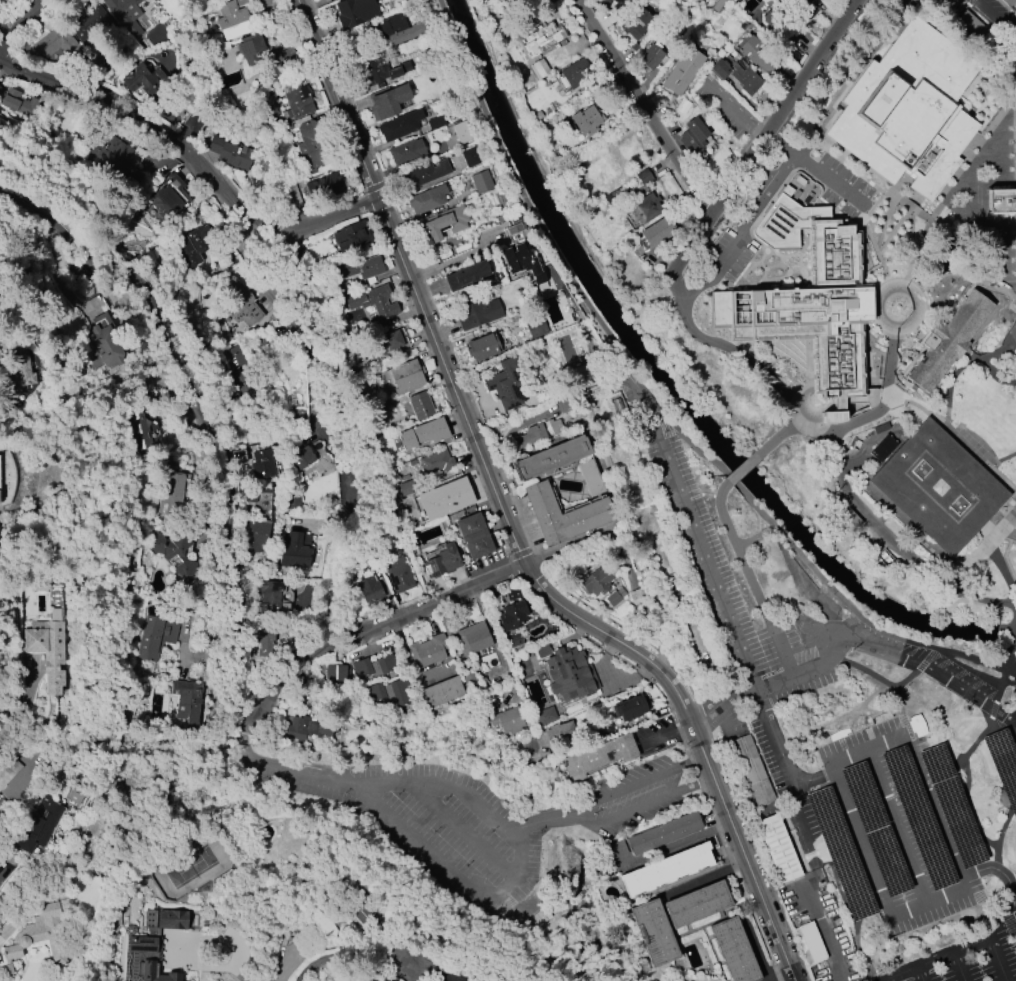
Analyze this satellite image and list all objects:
building: (481, 0)
building: (801, 9)
building: (354, 12)
parking lot: (1003, 12)
building: (125, 15)
road: (998, 16)
road: (27, 20)
building: (233, 20)
building: (634, 22)
building: (91, 24)
building: (394, 28)
building: (541, 38)
building: (53, 43)
building: (253, 47)
building: (757, 55)
building: (650, 57)
building: (539, 69)
building: (719, 69)
building: (681, 71)
building: (380, 73)
building: (575, 74)
building: (142, 78)
building: (744, 79)
road: (472, 83)
building: (297, 101)
building: (388, 101)
building: (13, 104)
road: (643, 108)
building: (907, 108)
parking lot: (723, 109)
building: (585, 120)
building: (436, 123)
building: (400, 125)
building: (456, 135)
building: (692, 135)
road: (762, 135)
road: (779, 144)
building: (312, 148)
building: (406, 152)
building: (227, 154)
building: (115, 155)
road: (192, 157)
building: (470, 157)
building: (604, 169)
building: (422, 173)
building: (481, 182)
building: (327, 185)
parking lot: (841, 185)
building: (164, 198)
building: (1000, 198)
building: (427, 199)
building: (644, 209)
building: (444, 223)
road: (742, 231)
building: (657, 232)
building: (514, 234)
building: (351, 236)
building: (191, 245)
parking lot: (730, 252)
building: (522, 262)
building: (359, 268)
building: (466, 274)
road: (673, 279)
building: (808, 297)
building: (242, 303)
building: (374, 303)
building: (478, 313)
road: (1013, 314)
building: (536, 329)
road: (894, 334)
building: (947, 337)
building: (107, 340)
road: (311, 342)
building: (390, 344)
building: (482, 347)
road: (628, 366)
building: (406, 377)
building: (21, 379)
building: (505, 383)
river: (668, 388)
building: (420, 406)
building: (554, 426)
building: (141, 432)
building: (423, 433)
building: (527, 437)
road: (778, 437)
building: (300, 457)
building: (550, 457)
road: (829, 460)
building: (435, 463)
building: (262, 465)
road: (718, 466)
road: (743, 467)
building: (589, 478)
building: (406, 487)
building: (936, 489)
building: (171, 492)
building: (445, 499)
building: (563, 515)
road: (340, 520)
road: (508, 520)
road: (692, 529)
building: (255, 535)
road: (753, 535)
building: (474, 536)
road: (980, 546)
building: (295, 549)
road: (737, 551)
building: (167, 552)
building: (443, 560)
building: (399, 575)
road: (225, 577)
building: (595, 582)
building: (369, 589)
building: (614, 597)
building: (270, 598)
building: (511, 616)
road: (1015, 618)
road: (1012, 633)
building: (147, 636)
building: (475, 637)
building: (264, 641)
road: (780, 648)
building: (47, 651)
building: (428, 651)
road: (930, 652)
road: (920, 664)
road: (807, 669)
building: (366, 670)
road: (868, 670)
building: (336, 673)
road: (938, 673)
road: (1003, 673)
building: (567, 674)
road: (895, 685)
parking lot: (1015, 687)
building: (441, 692)
building: (378, 693)
building: (398, 693)
building: (187, 701)
road: (992, 707)
building: (629, 708)
building: (545, 716)
road: (698, 718)
building: (507, 720)
road: (1014, 722)
building: (308, 728)
parking lot: (847, 744)
road: (966, 752)
road: (1001, 752)
building: (598, 756)
building: (751, 768)
building: (9, 771)
road: (790, 774)
road: (920, 783)
road: (612, 791)
road: (487, 807)
road: (637, 807)
road: (967, 809)
building: (40, 826)
road: (896, 826)
road: (1002, 828)
road: (466, 830)
building: (664, 833)
road: (680, 846)
building: (777, 846)
building: (666, 869)
road: (878, 883)
building: (698, 904)
road: (820, 925)
building: (654, 932)
building: (37, 937)
building: (809, 942)
road: (176, 944)
building: (151, 946)
building: (734, 950)
road: (356, 952)
road: (932, 957)
road: (997, 958)
road: (958, 965)
road: (919, 972)
road: (247, 975)

